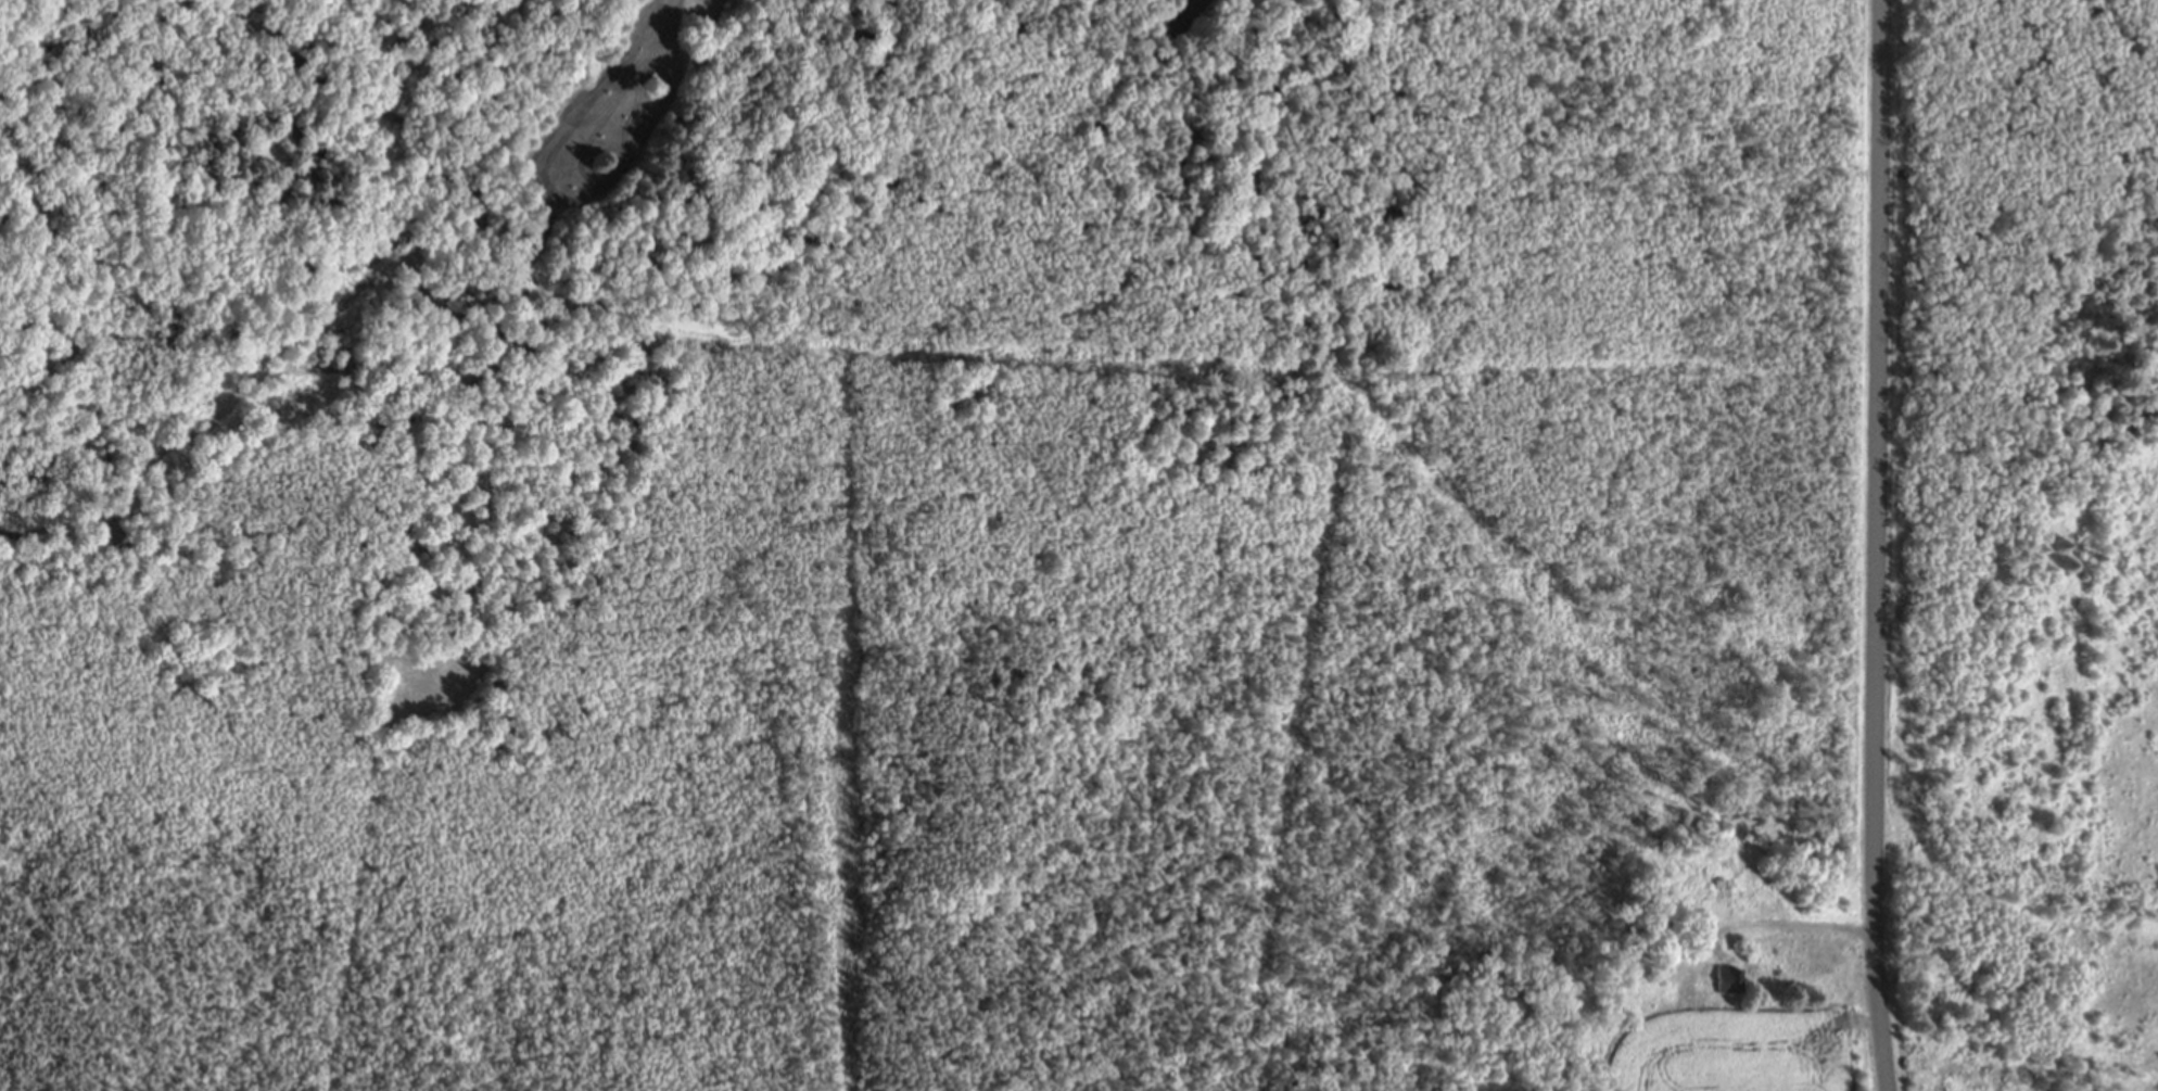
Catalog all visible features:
road: (1877, 545)
road: (1810, 927)
building: (1727, 981)

